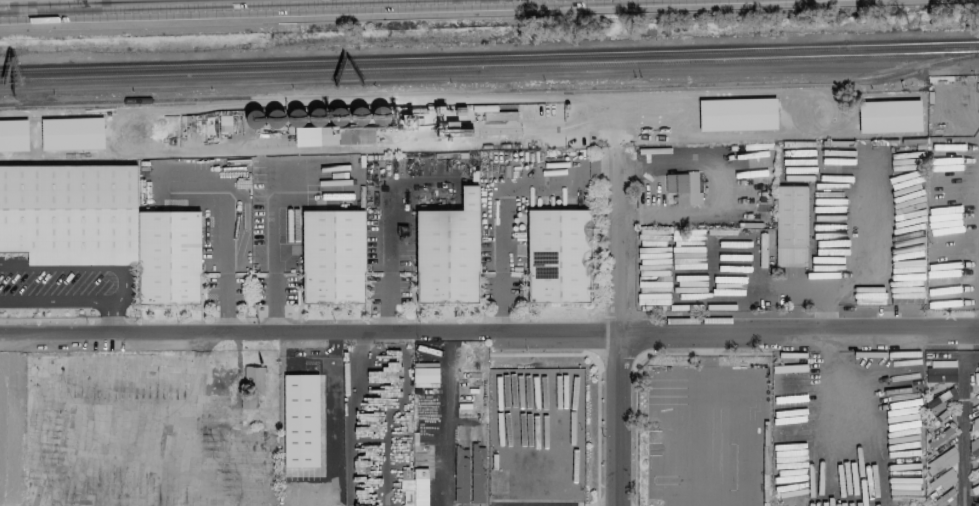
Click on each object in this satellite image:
railway: (489, 56)
railway: (489, 64)
railway: (490, 89)
building: (737, 114)
building: (889, 116)
building: (71, 133)
building: (333, 134)
building: (13, 135)
building: (683, 187)
road: (497, 225)
building: (790, 225)
road: (223, 226)
building: (99, 227)
road: (274, 228)
building: (448, 252)
road: (387, 255)
building: (557, 256)
building: (332, 257)
road: (861, 274)
road: (121, 284)
road: (621, 310)
road: (110, 317)
road: (489, 331)
road: (360, 337)
building: (424, 377)
building: (251, 383)
building: (941, 400)
road: (445, 417)
road: (709, 417)
road: (353, 419)
building: (300, 420)
road: (960, 421)
road: (191, 422)
building: (974, 425)
road: (135, 436)
building: (406, 487)
building: (420, 487)
building: (976, 504)

